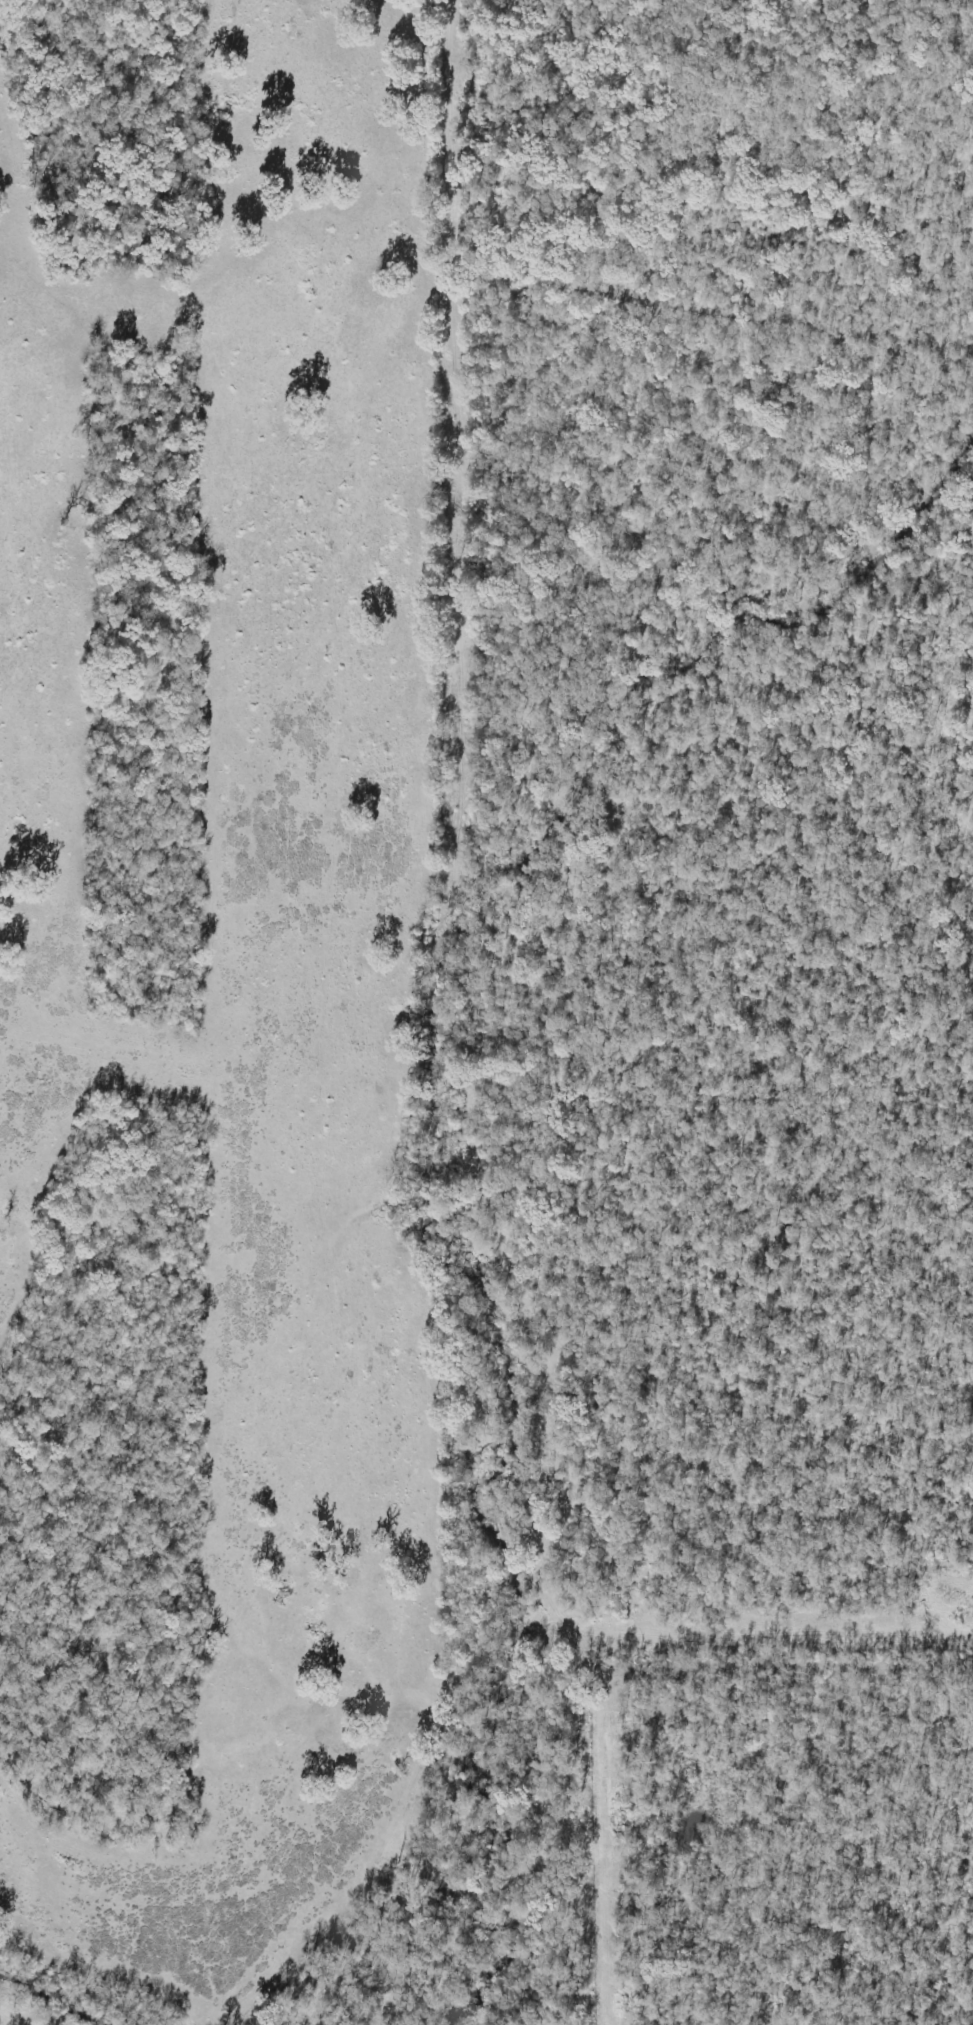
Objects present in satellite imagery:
river: (72, 2001)

